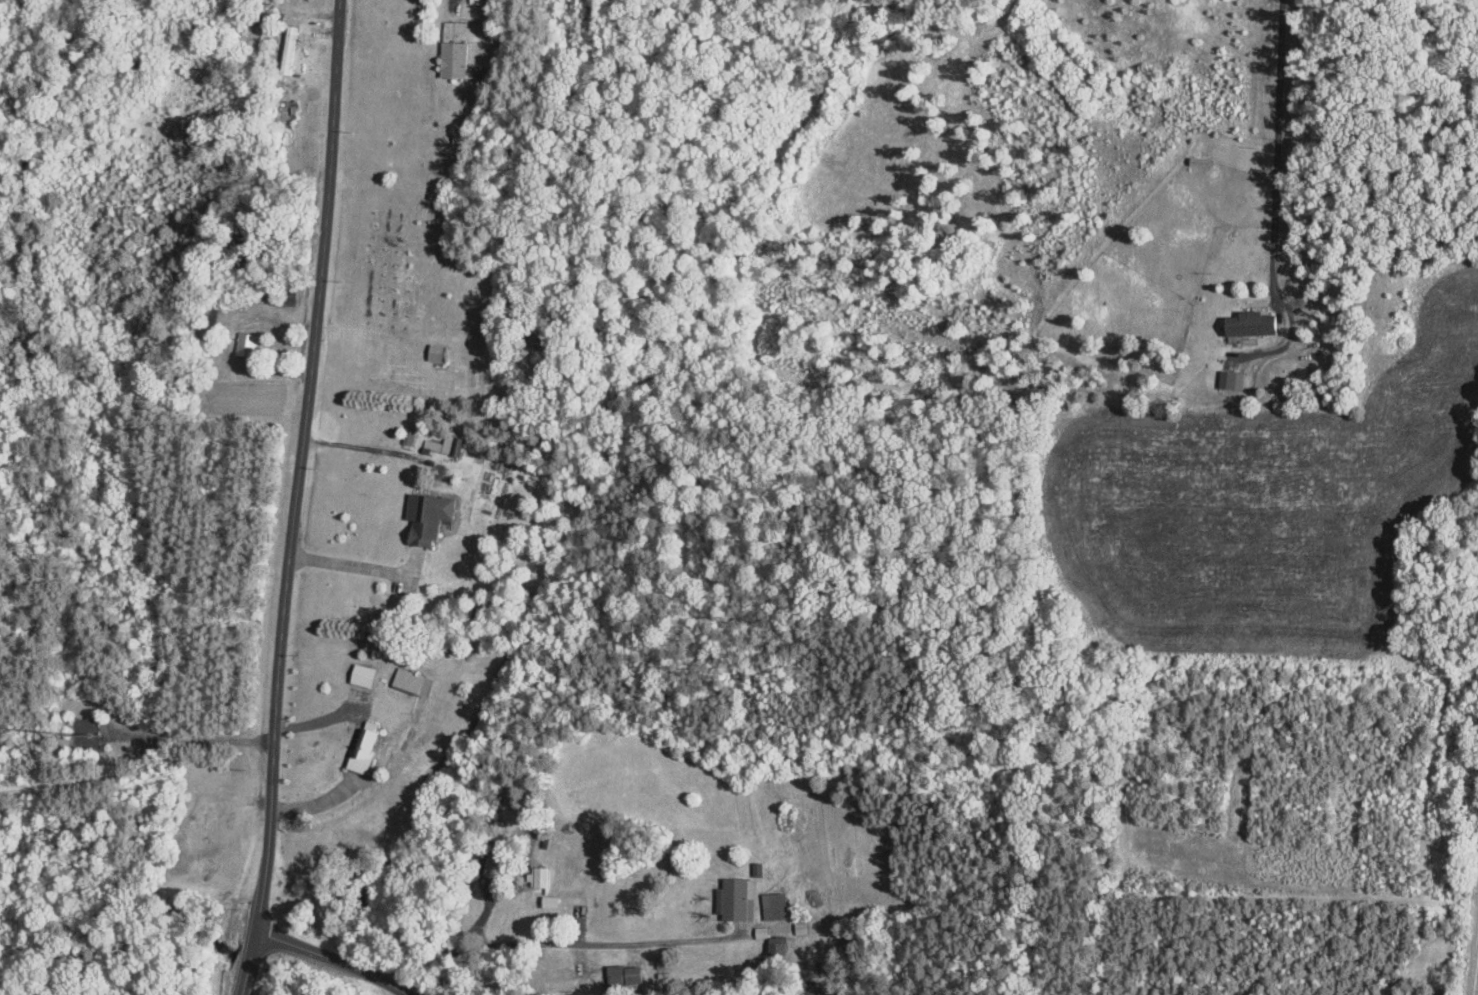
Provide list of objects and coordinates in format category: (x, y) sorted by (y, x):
building: (286, 48)
building: (450, 58)
road: (1276, 152)
building: (1194, 161)
building: (1245, 322)
building: (244, 342)
building: (431, 351)
building: (1227, 379)
building: (407, 434)
building: (444, 444)
road: (359, 446)
road: (297, 498)
building: (423, 517)
road: (351, 566)
building: (359, 674)
building: (409, 681)
building: (361, 746)
building: (537, 876)
building: (734, 899)
building: (770, 905)
building: (759, 931)
road: (554, 942)
building: (775, 943)
road: (331, 959)
building: (622, 974)

